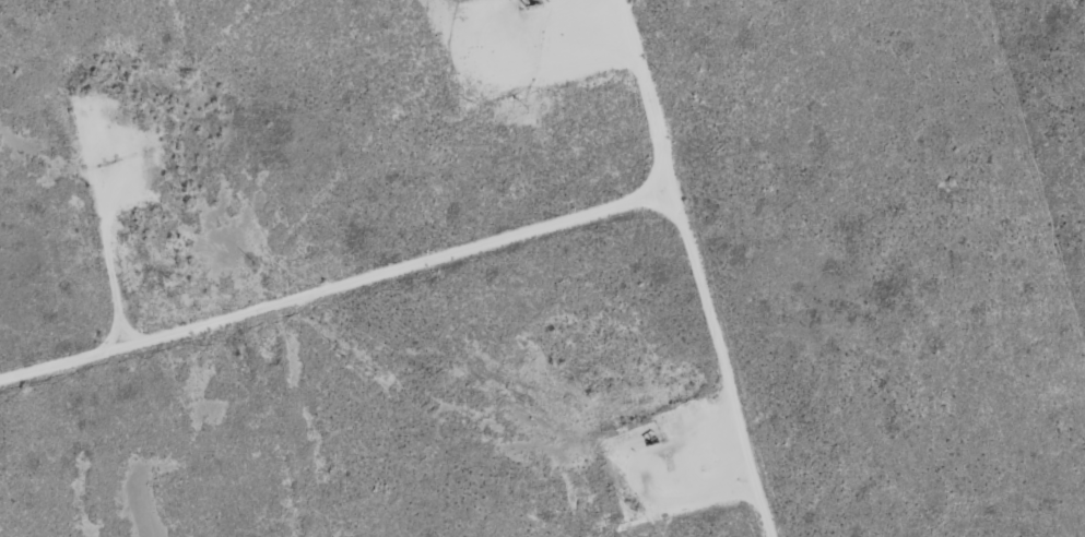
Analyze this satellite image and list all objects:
road: (705, 267)
road: (342, 285)

